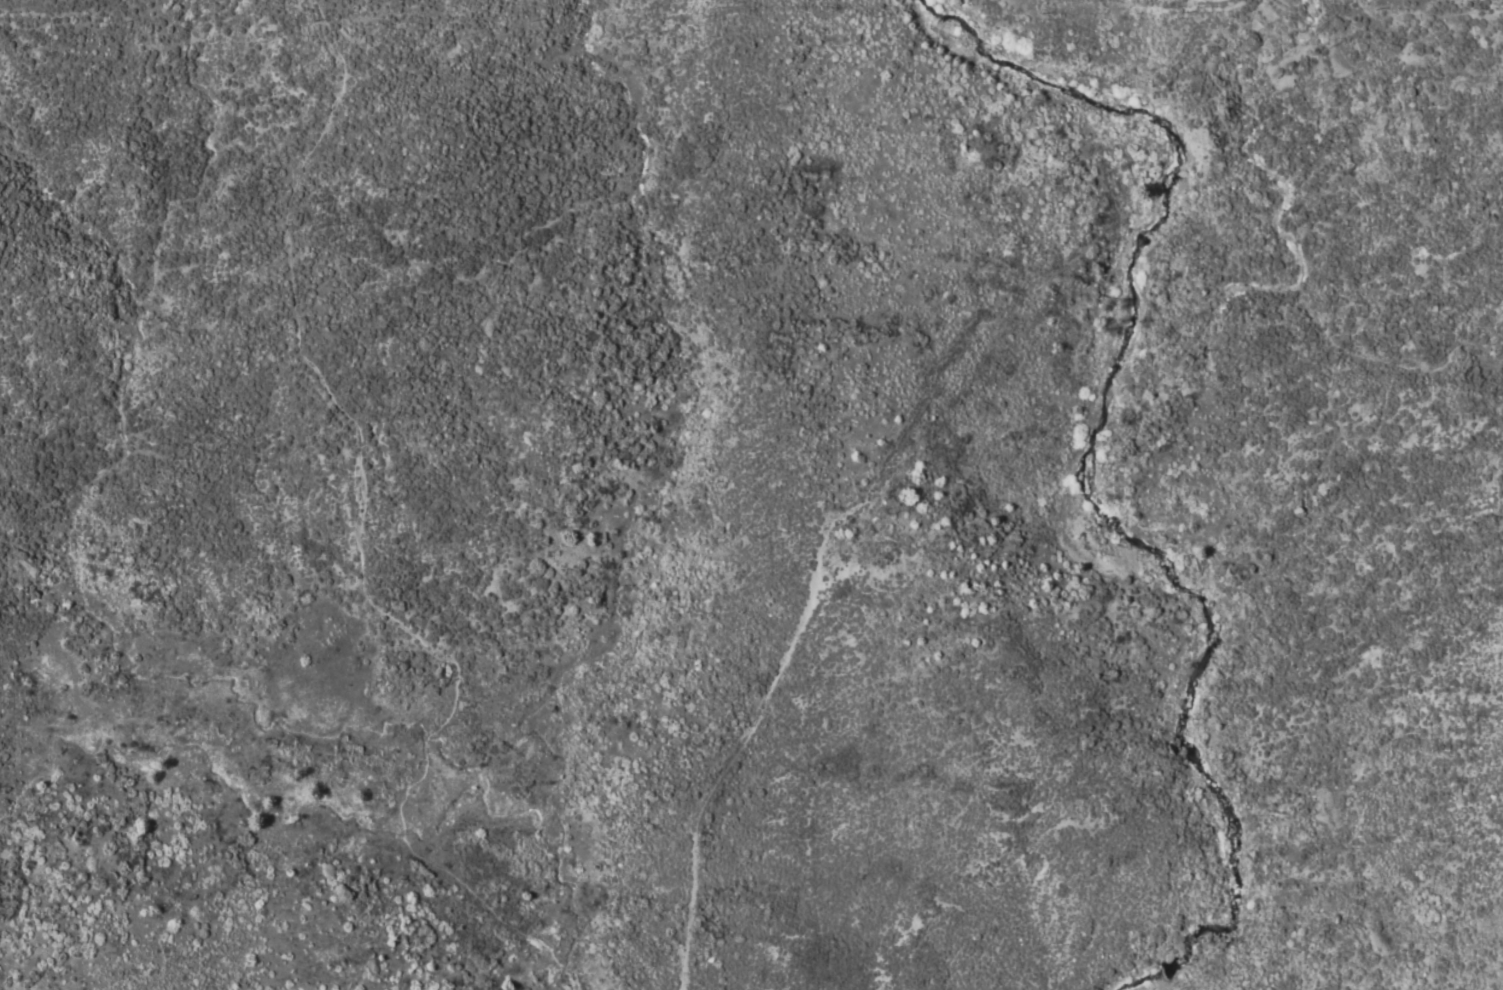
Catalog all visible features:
road: (358, 552)

